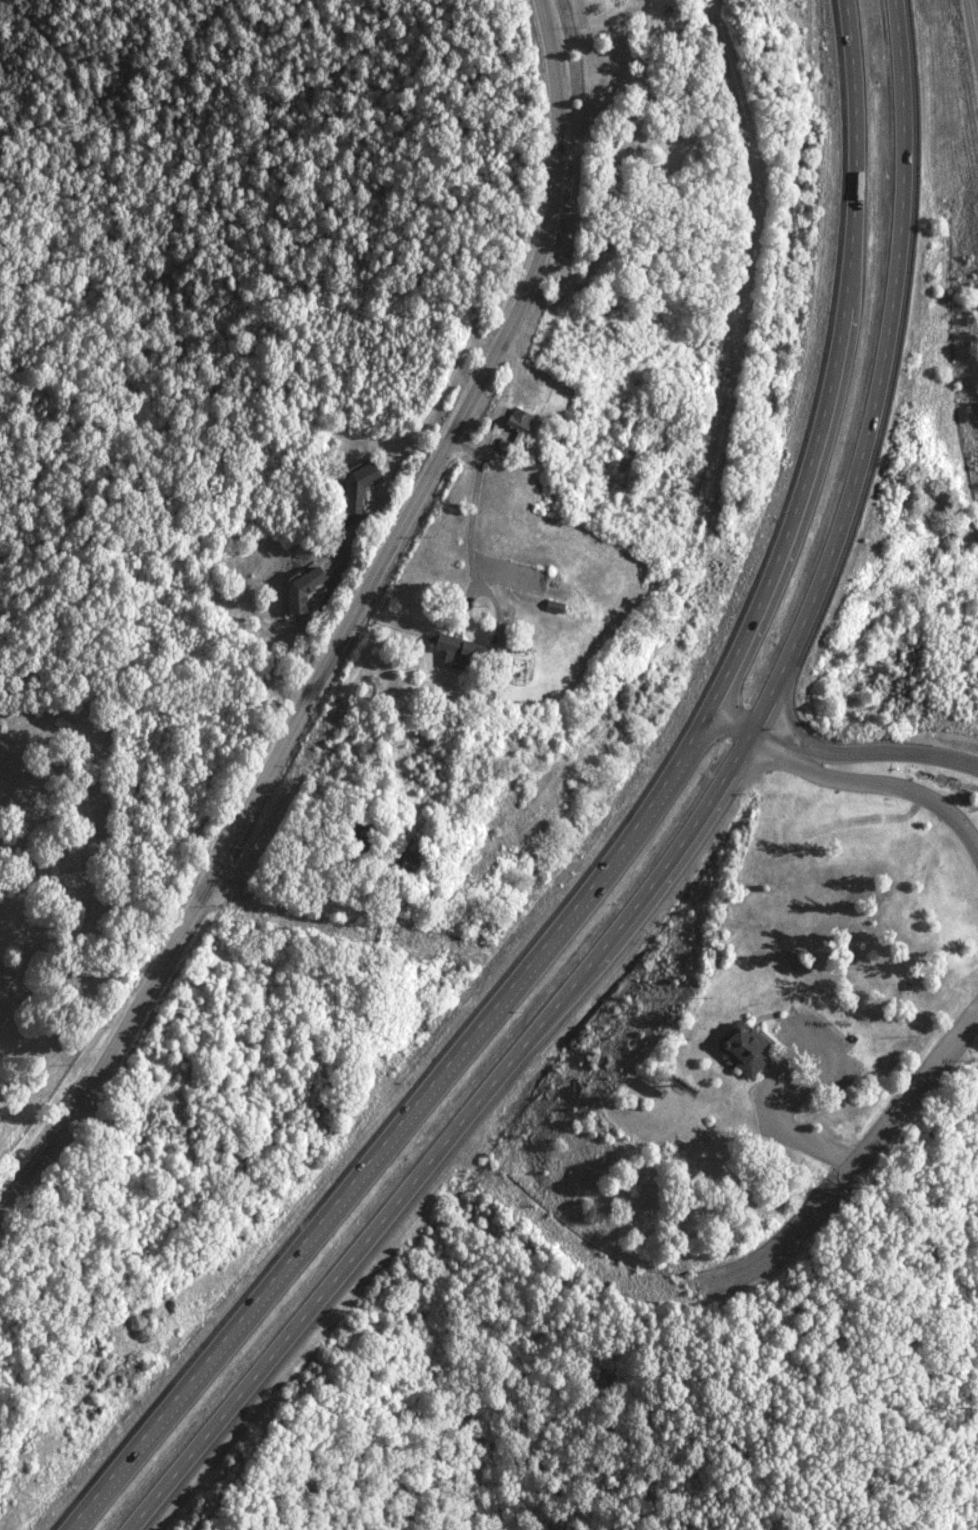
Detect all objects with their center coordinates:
road: (971, 63)
road: (827, 366)
road: (873, 375)
building: (513, 430)
building: (354, 488)
road: (472, 507)
building: (297, 590)
road: (351, 630)
building: (455, 652)
road: (690, 739)
road: (839, 753)
road: (842, 781)
building: (742, 1047)
road: (799, 1137)
road: (447, 1138)
road: (376, 1151)
road: (848, 1170)

